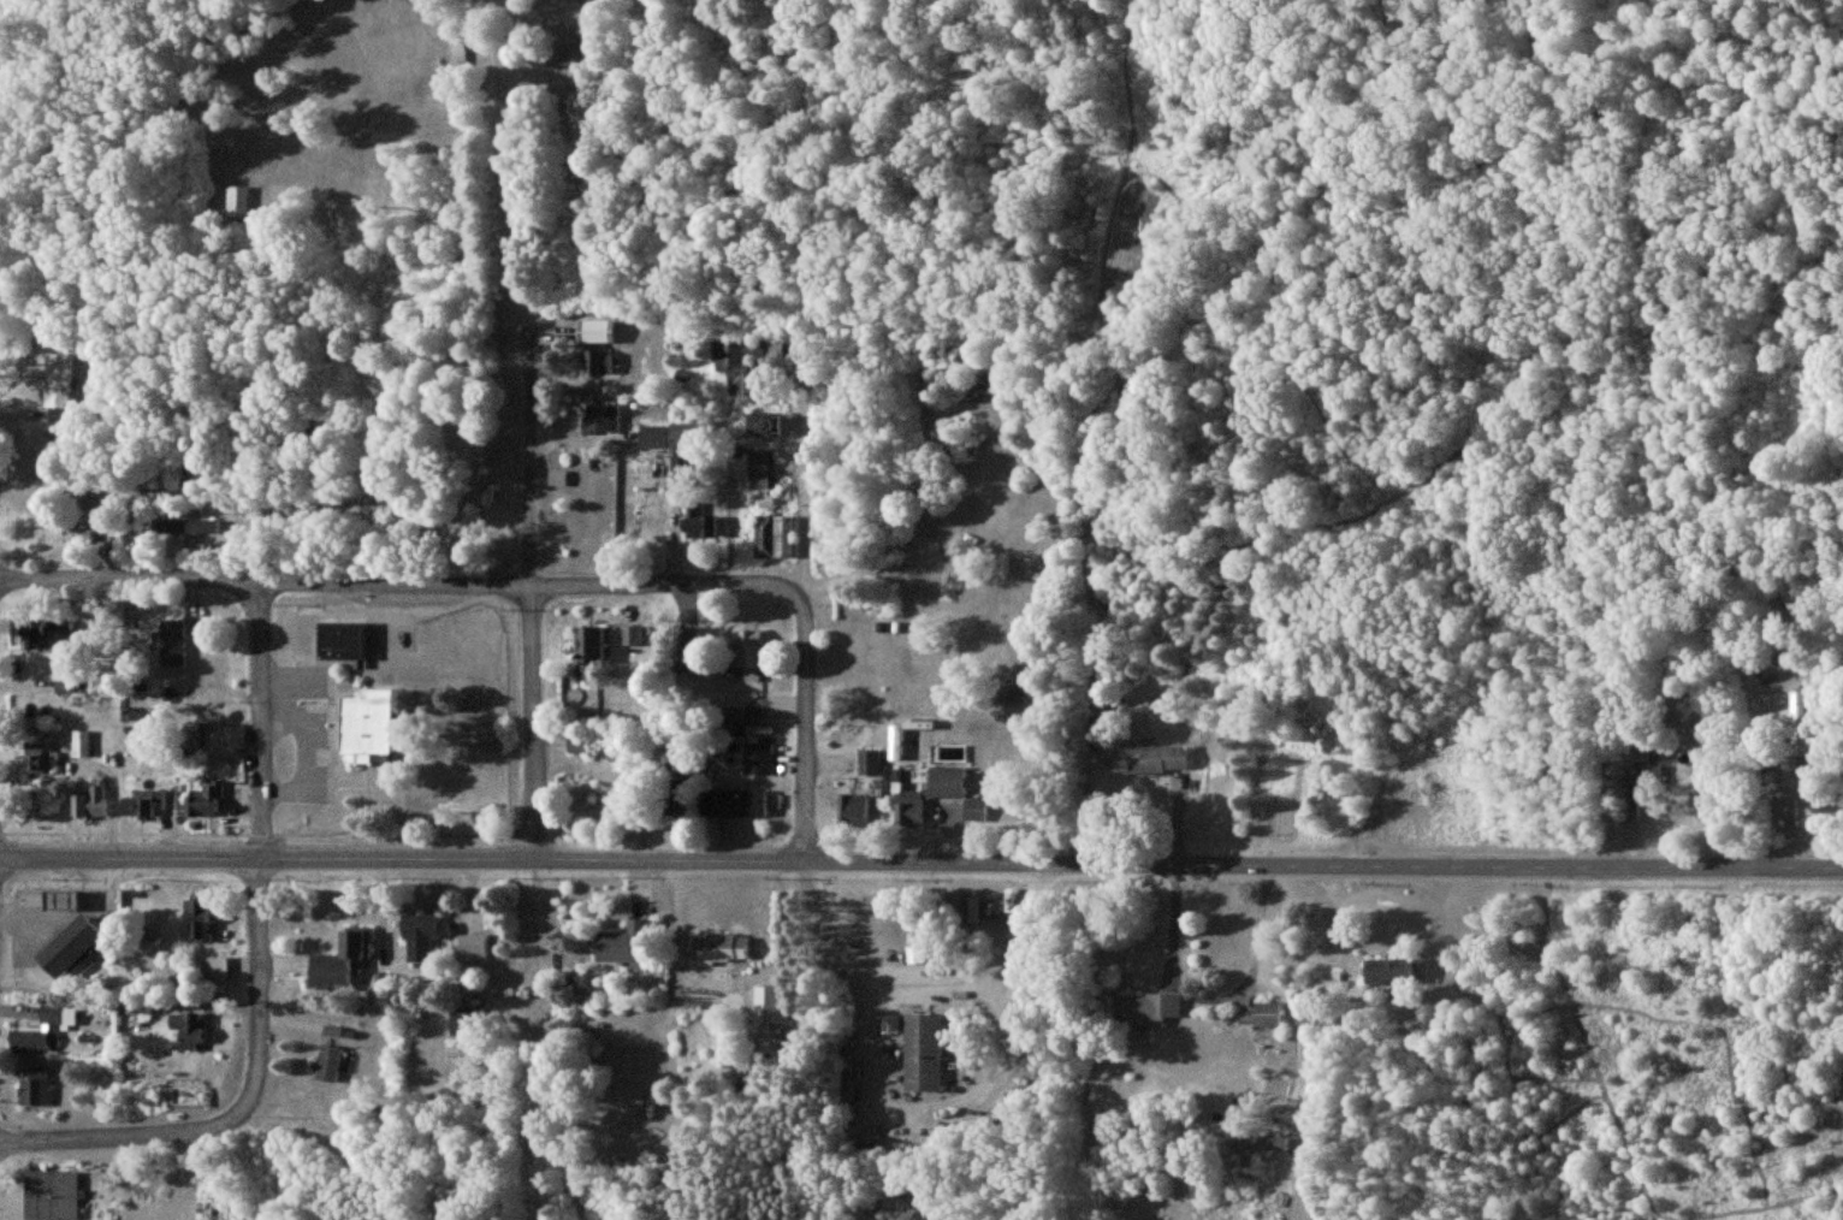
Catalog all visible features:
building: (458, 53)
building: (574, 53)
building: (238, 201)
building: (595, 330)
building: (599, 361)
building: (746, 362)
building: (60, 380)
building: (602, 417)
building: (765, 424)
building: (682, 434)
building: (653, 436)
road: (805, 462)
building: (763, 468)
building: (557, 476)
building: (766, 501)
building: (698, 521)
building: (185, 525)
building: (64, 531)
building: (774, 535)
road: (402, 585)
road: (531, 592)
building: (45, 634)
building: (632, 634)
building: (340, 639)
building: (171, 641)
building: (589, 644)
building: (688, 647)
building: (749, 653)
road: (704, 685)
building: (65, 686)
building: (1015, 699)
building: (741, 712)
road: (261, 719)
road: (806, 721)
building: (1798, 722)
building: (367, 726)
building: (189, 734)
building: (895, 741)
building: (81, 742)
building: (579, 742)
building: (949, 752)
building: (35, 758)
building: (758, 758)
building: (1157, 758)
building: (869, 762)
building: (1640, 784)
building: (926, 794)
building: (675, 796)
building: (165, 798)
building: (202, 799)
building: (89, 801)
building: (733, 801)
building: (137, 803)
building: (852, 809)
building: (973, 809)
road: (920, 859)
building: (63, 901)
building: (965, 907)
building: (990, 907)
building: (195, 917)
building: (422, 935)
building: (624, 943)
building: (473, 944)
road: (1338, 944)
building: (77, 947)
building: (719, 948)
building: (339, 961)
building: (214, 970)
building: (1387, 970)
road: (262, 976)
road: (1215, 999)
building: (771, 1003)
building: (1145, 1008)
building: (1267, 1013)
building: (462, 1020)
building: (890, 1023)
road: (1302, 1029)
building: (42, 1030)
building: (185, 1030)
building: (923, 1052)
building: (327, 1062)
building: (35, 1086)
road: (132, 1138)
building: (1257, 1142)
building: (51, 1195)

